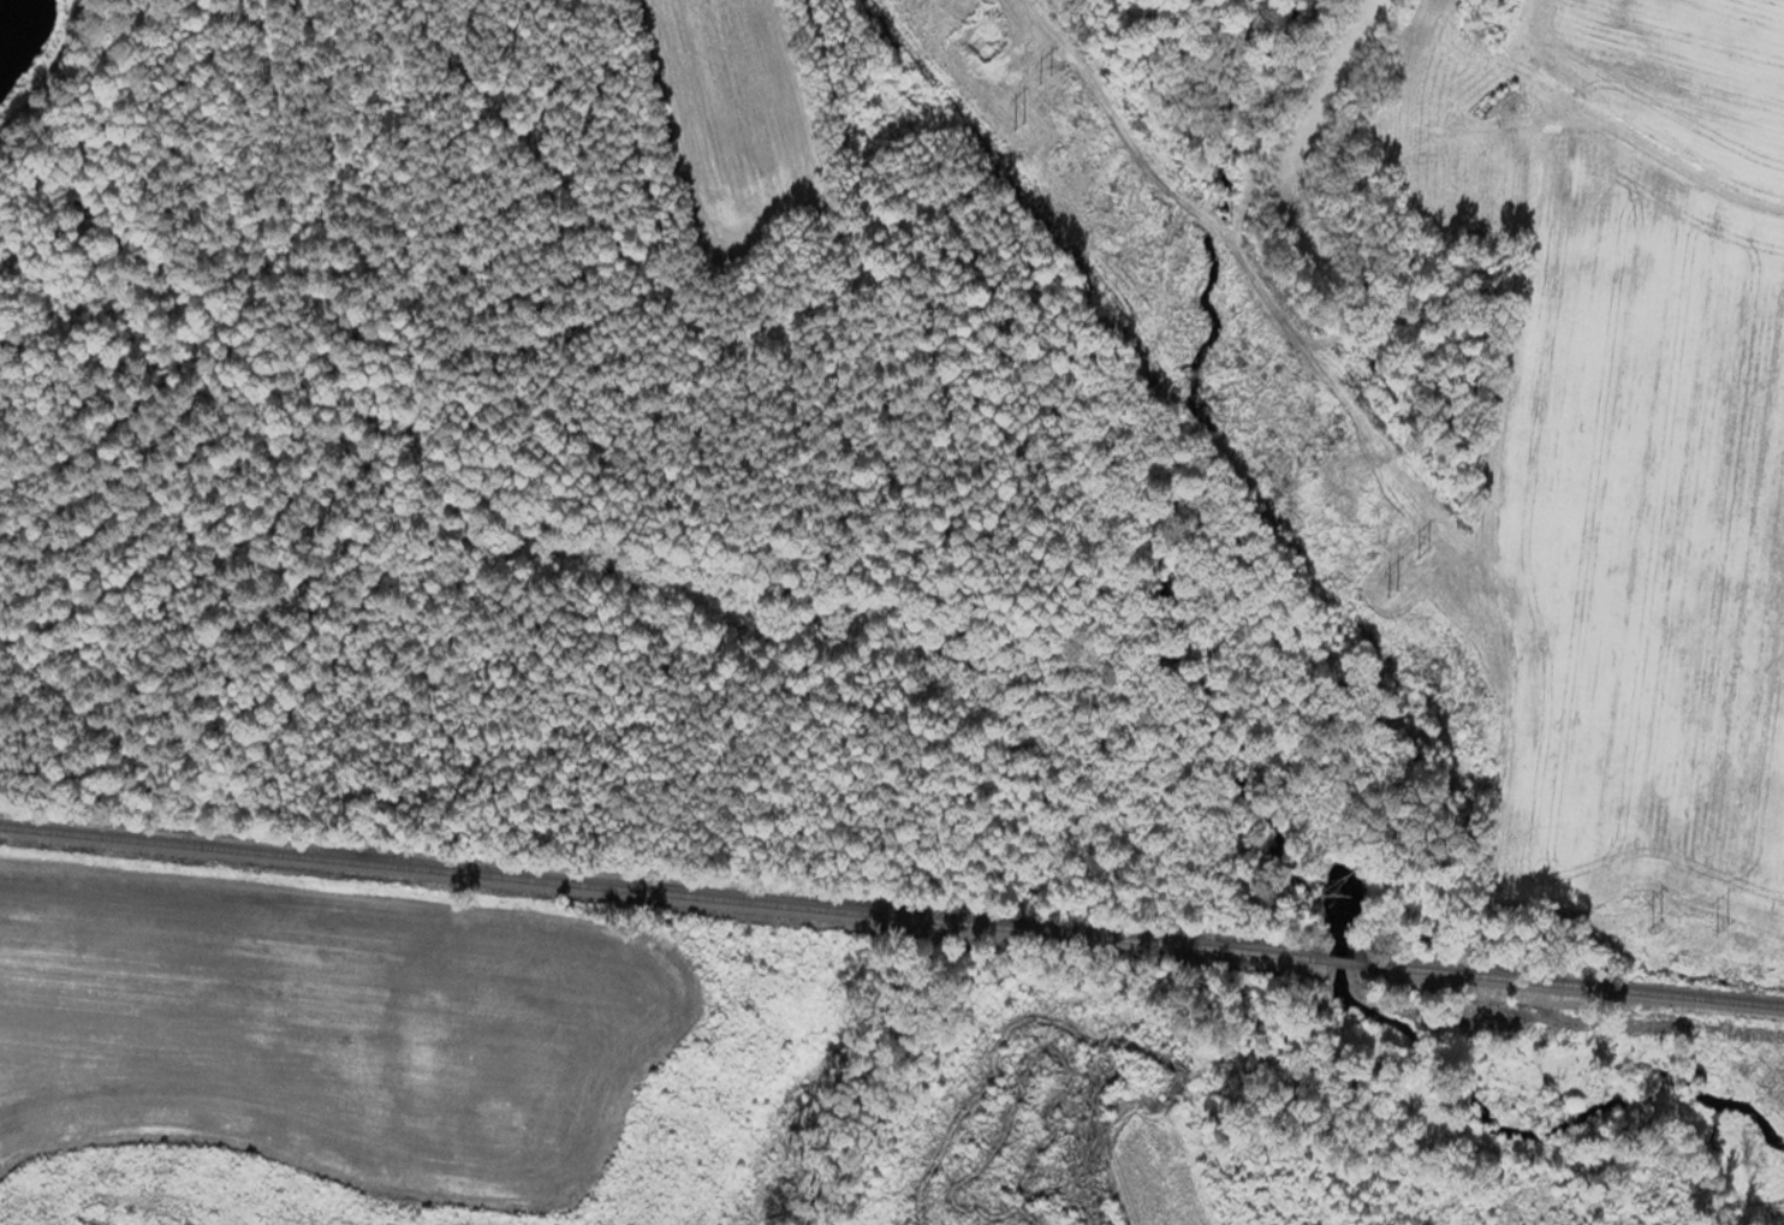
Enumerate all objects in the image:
road: (53, 76)
power tower: (1049, 77)
power tower: (1429, 551)
railway: (664, 891)
power tower: (1732, 922)
railway: (1344, 959)
railway: (1571, 982)

